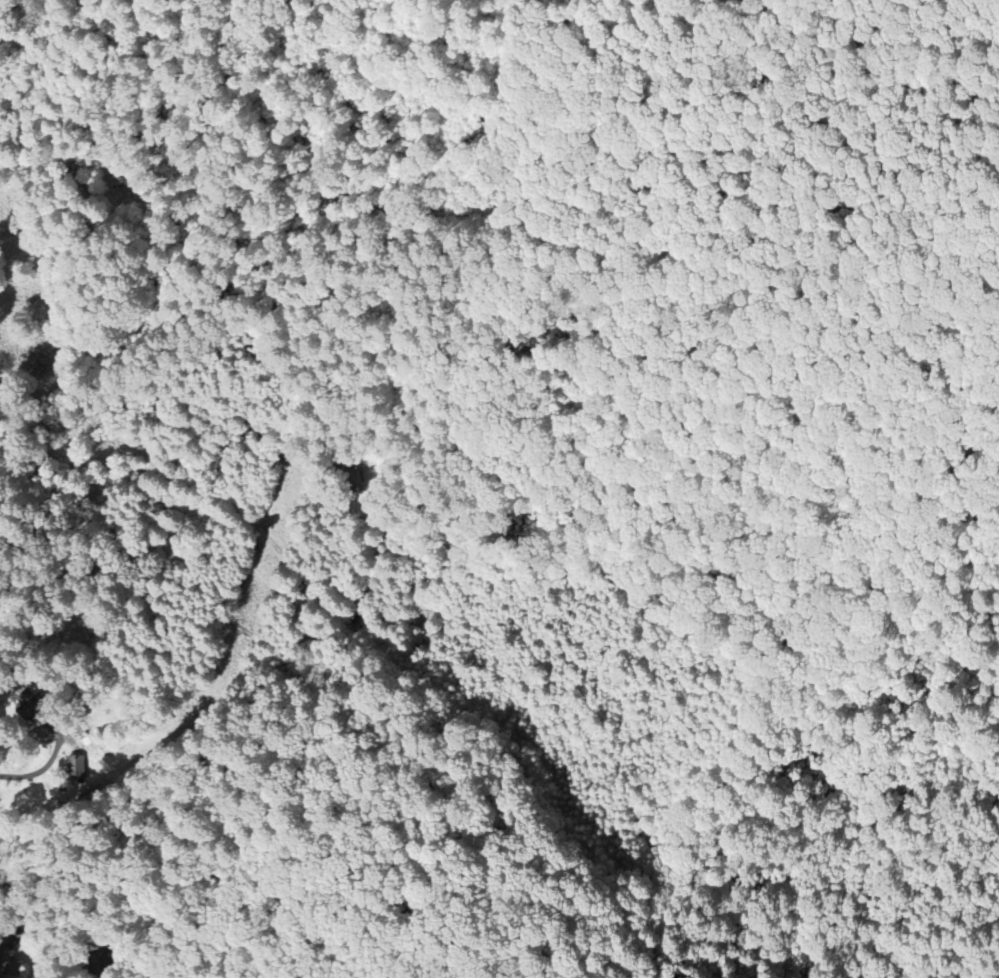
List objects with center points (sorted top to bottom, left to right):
building: (75, 767)

